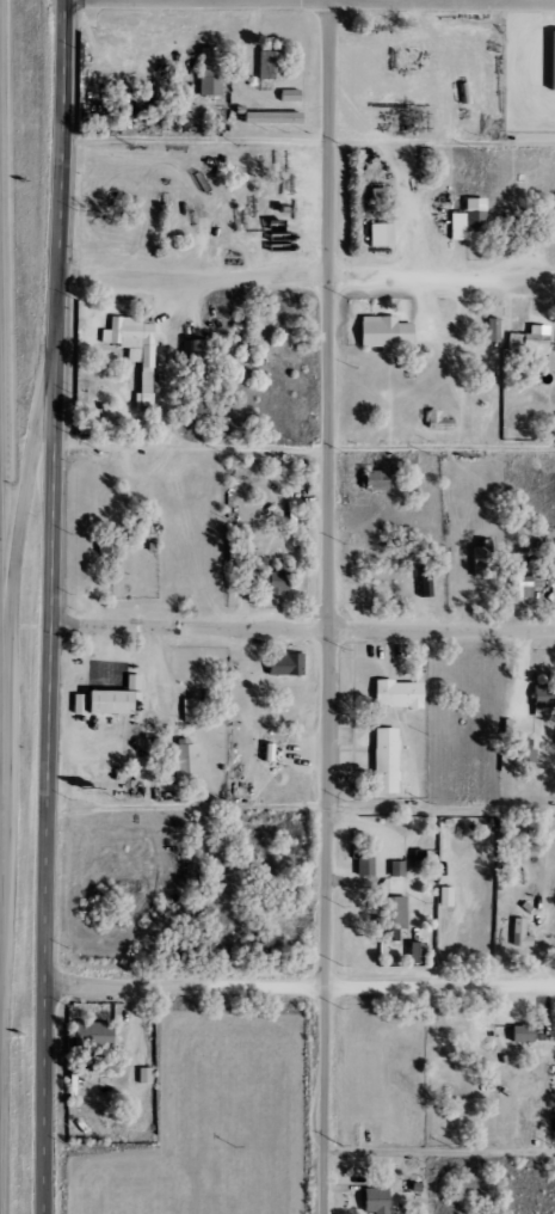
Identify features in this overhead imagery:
road: (442, 0)
building: (549, 61)
building: (266, 65)
building: (205, 70)
building: (284, 96)
building: (267, 118)
road: (308, 146)
building: (464, 221)
building: (520, 232)
building: (376, 234)
road: (307, 284)
building: (239, 330)
building: (489, 330)
building: (380, 332)
building: (526, 342)
building: (131, 351)
building: (191, 375)
road: (304, 449)
building: (371, 480)
road: (20, 514)
building: (481, 560)
building: (261, 577)
building: (520, 585)
road: (53, 607)
road: (328, 607)
road: (2, 627)
road: (303, 629)
building: (280, 664)
building: (394, 694)
building: (542, 697)
building: (103, 699)
building: (186, 707)
building: (538, 712)
building: (518, 749)
building: (181, 760)
building: (381, 761)
road: (301, 810)
building: (360, 869)
building: (394, 869)
building: (443, 896)
building: (393, 913)
building: (517, 934)
building: (412, 954)
road: (298, 986)
building: (517, 1034)
building: (105, 1046)
building: (142, 1075)
road: (438, 1159)
building: (371, 1200)
building: (387, 1202)

